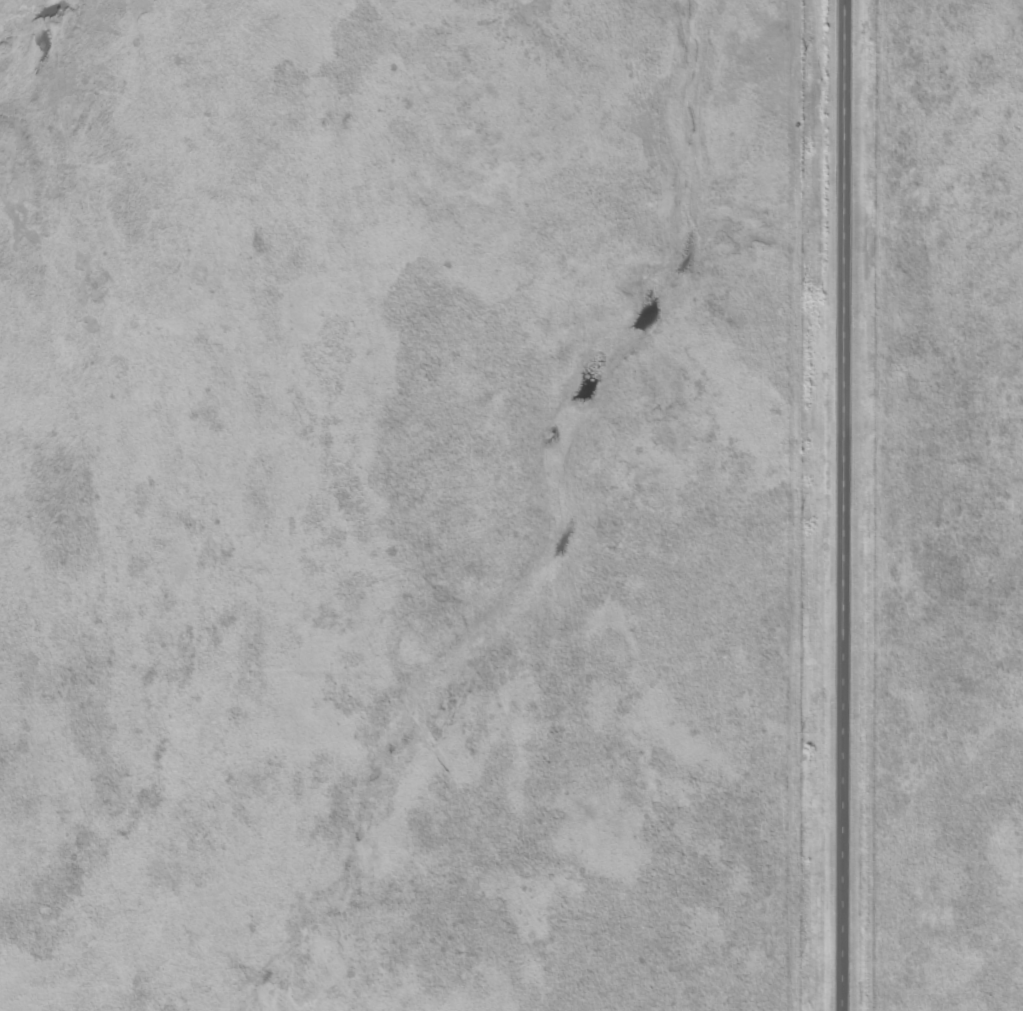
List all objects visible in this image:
road: (842, 505)

